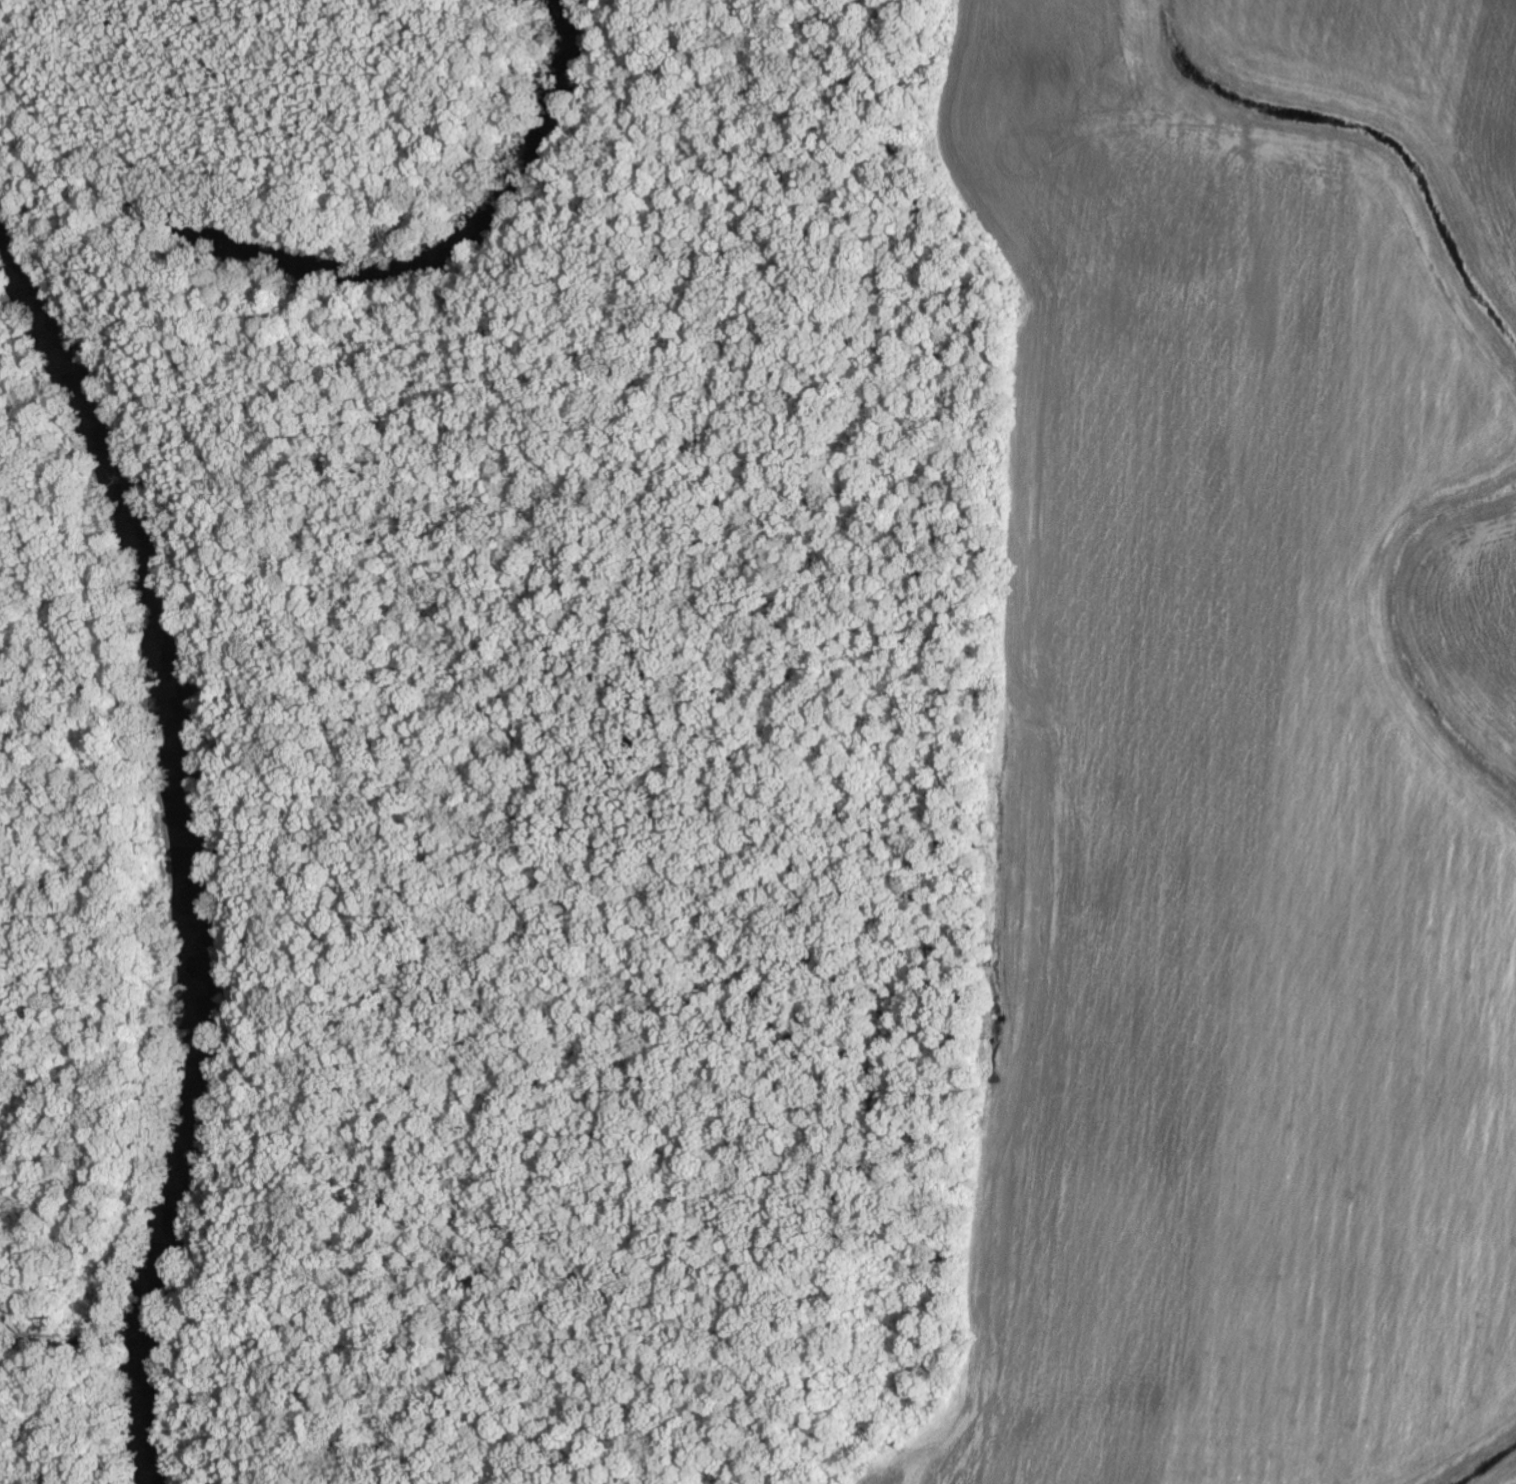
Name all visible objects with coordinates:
river: (182, 851)

